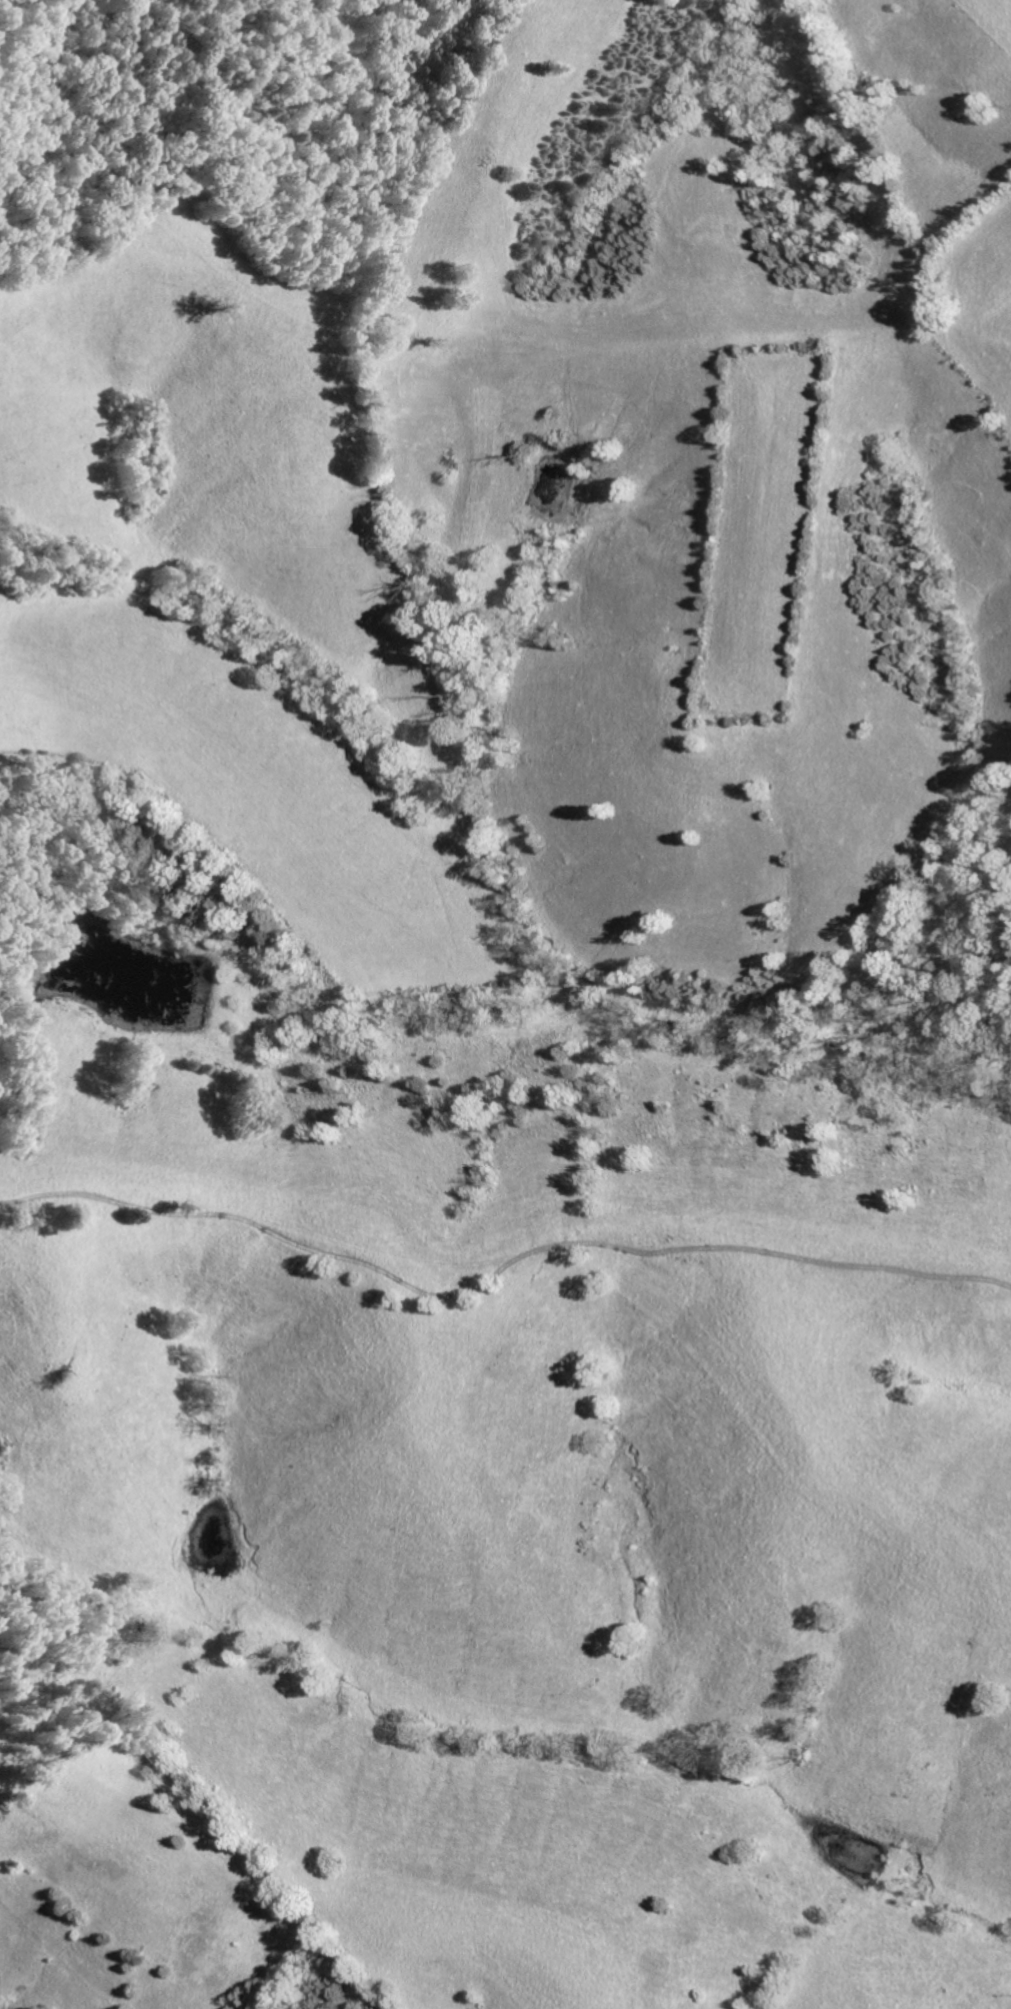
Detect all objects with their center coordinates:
road: (500, 1243)

